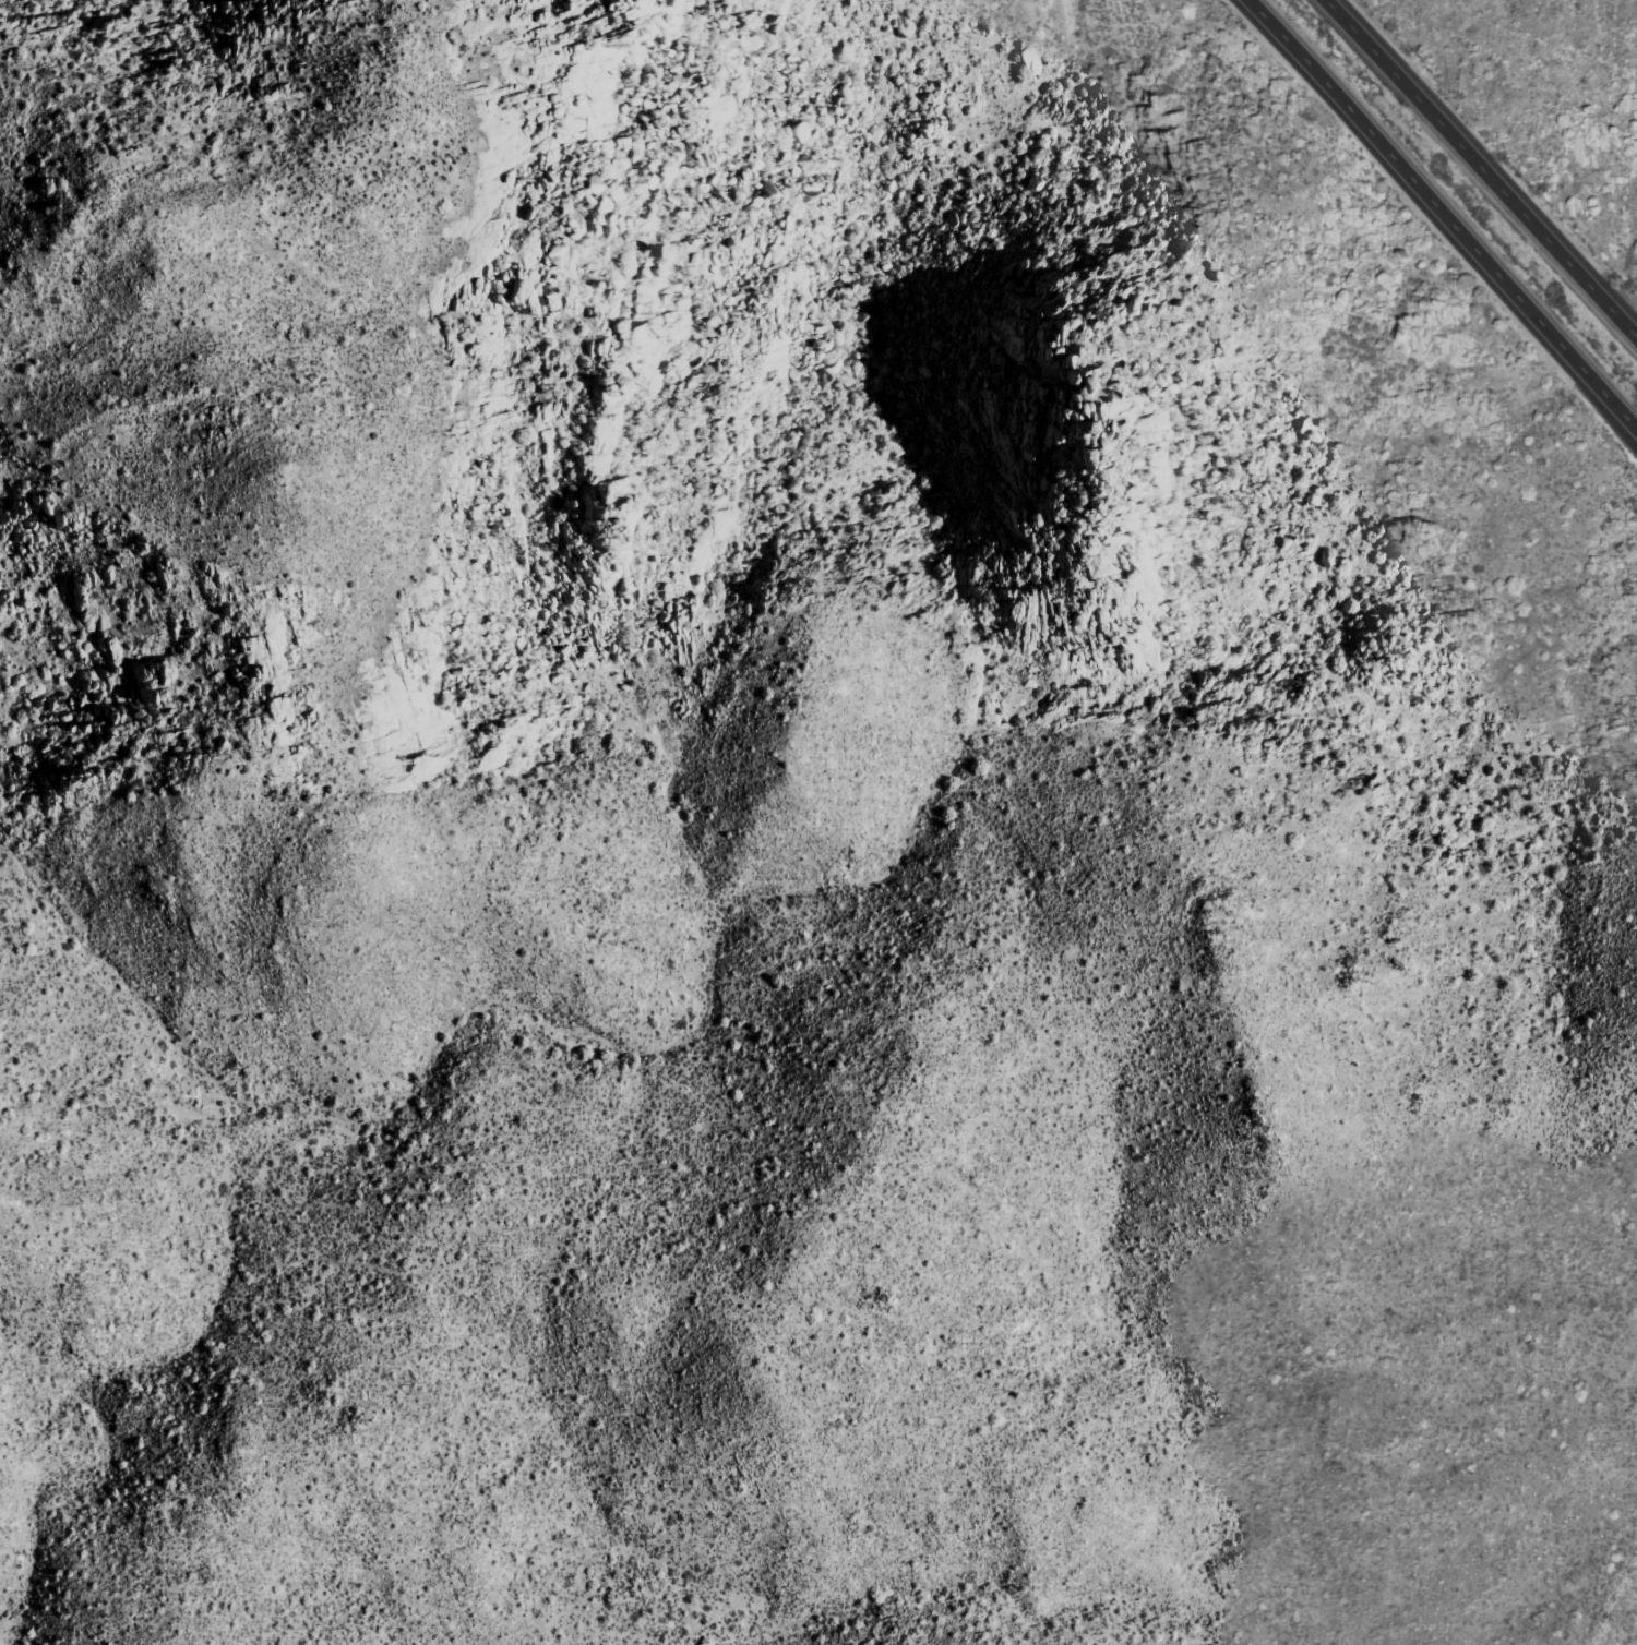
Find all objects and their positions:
road: (1483, 166)
road: (1447, 207)

